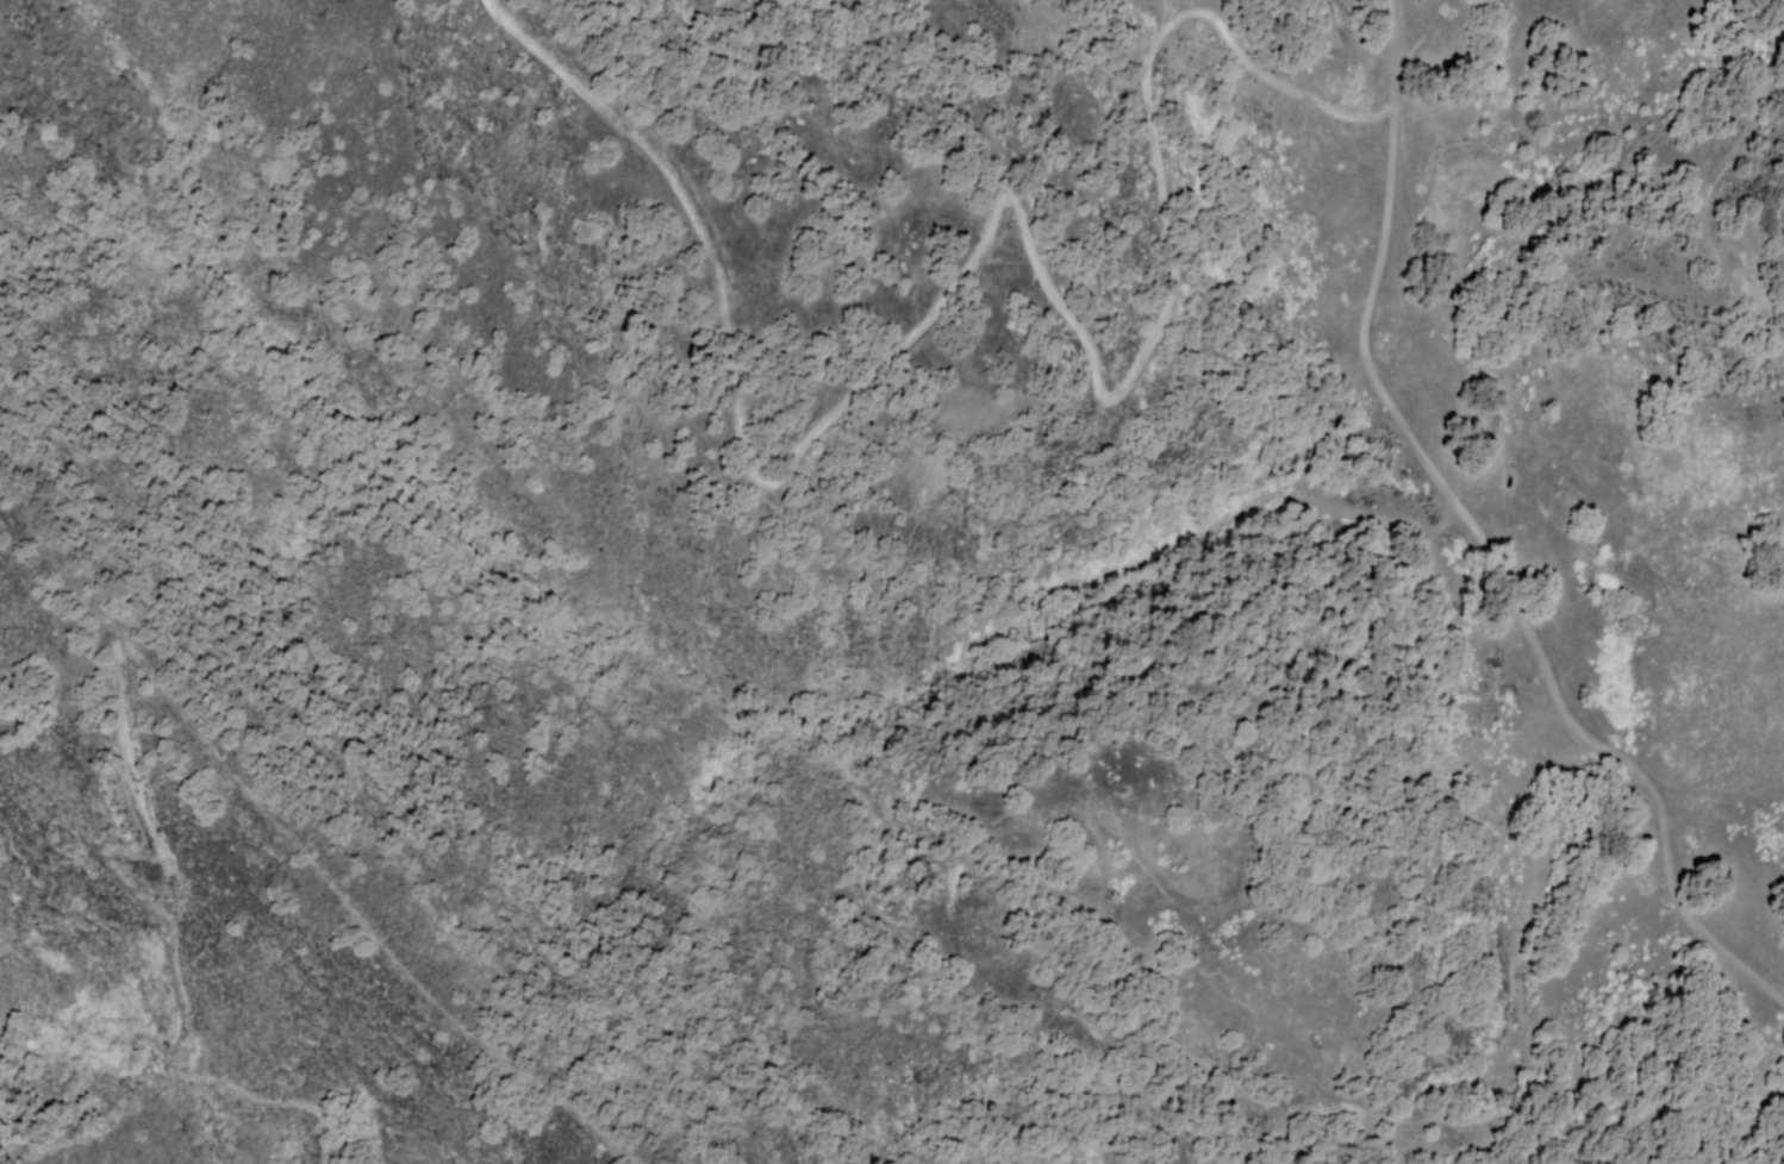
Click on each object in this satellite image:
road: (283, 865)

